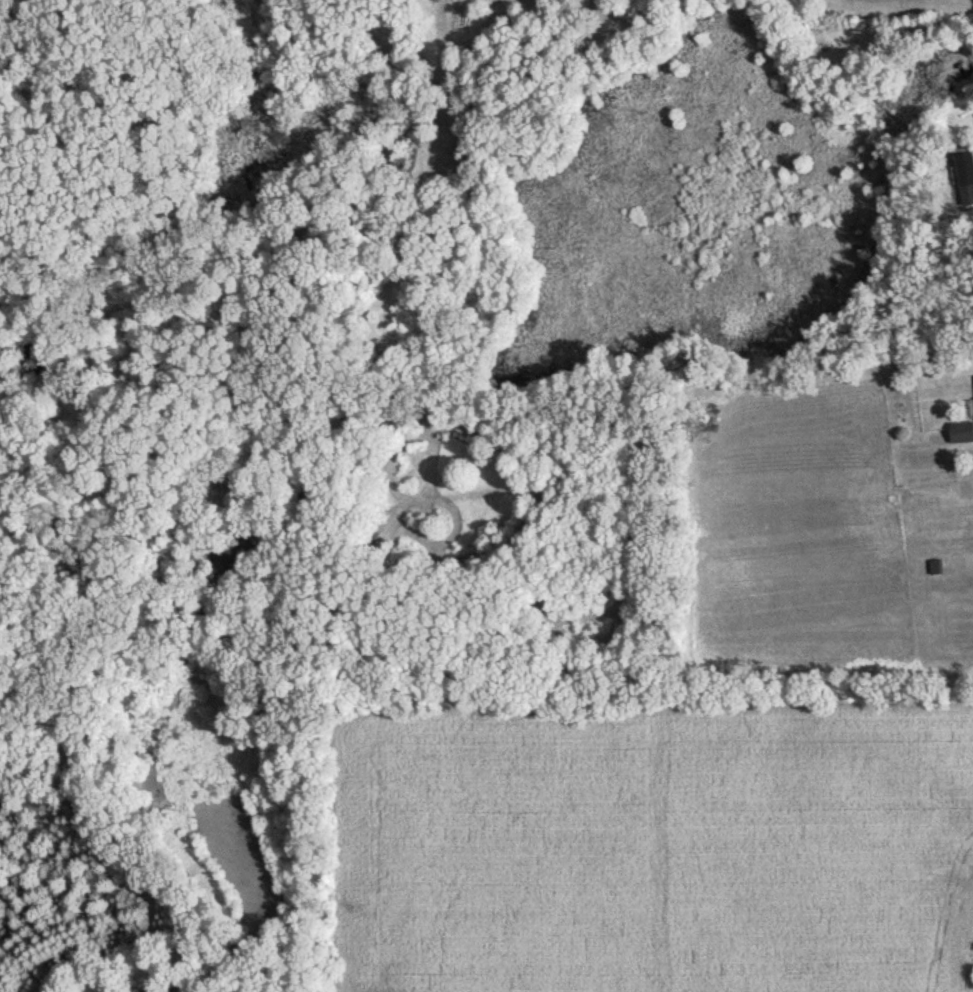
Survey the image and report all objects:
building: (967, 177)
building: (962, 433)

